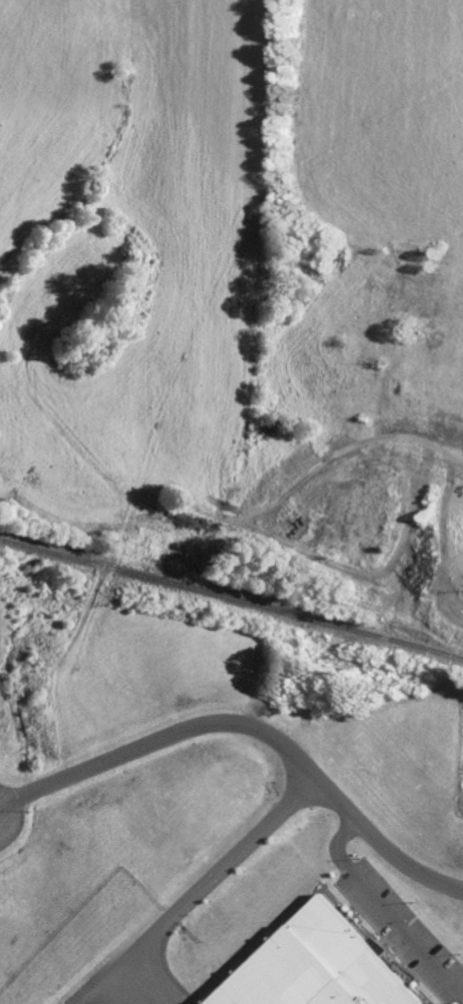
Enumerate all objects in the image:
railway: (231, 600)
building: (317, 968)

